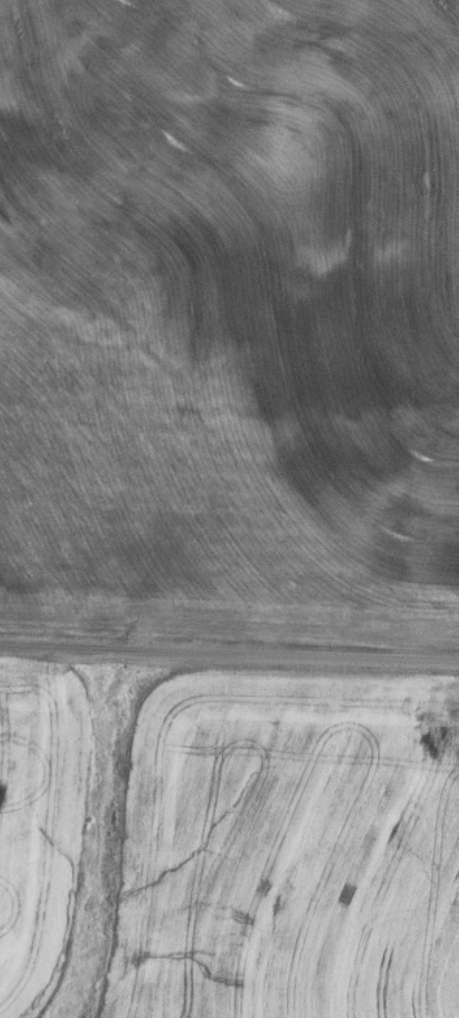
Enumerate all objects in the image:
road: (229, 654)

